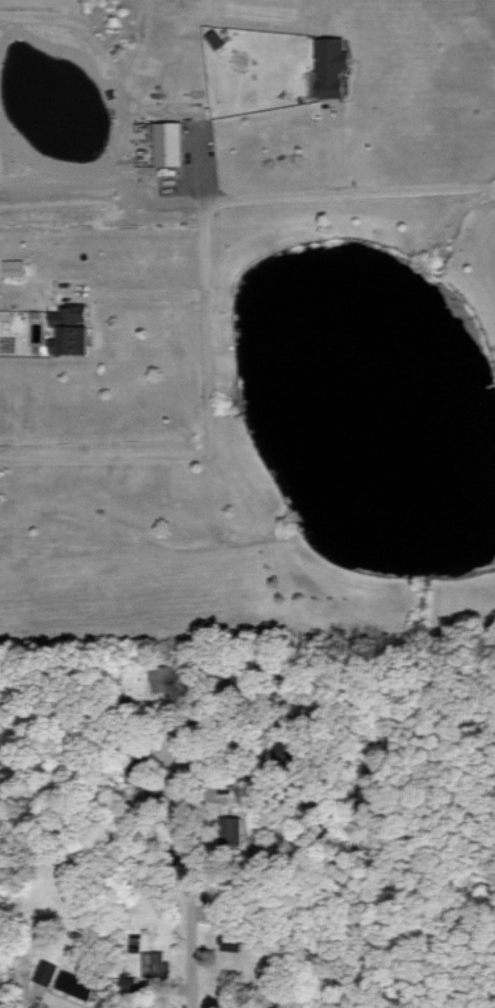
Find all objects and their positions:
building: (215, 39)
building: (332, 66)
building: (169, 143)
road: (228, 198)
building: (13, 267)
road: (144, 294)
building: (71, 330)
road: (105, 456)
building: (163, 678)
building: (247, 794)
building: (232, 830)
road: (191, 872)
building: (233, 940)
building: (155, 964)
building: (65, 980)
building: (130, 984)

